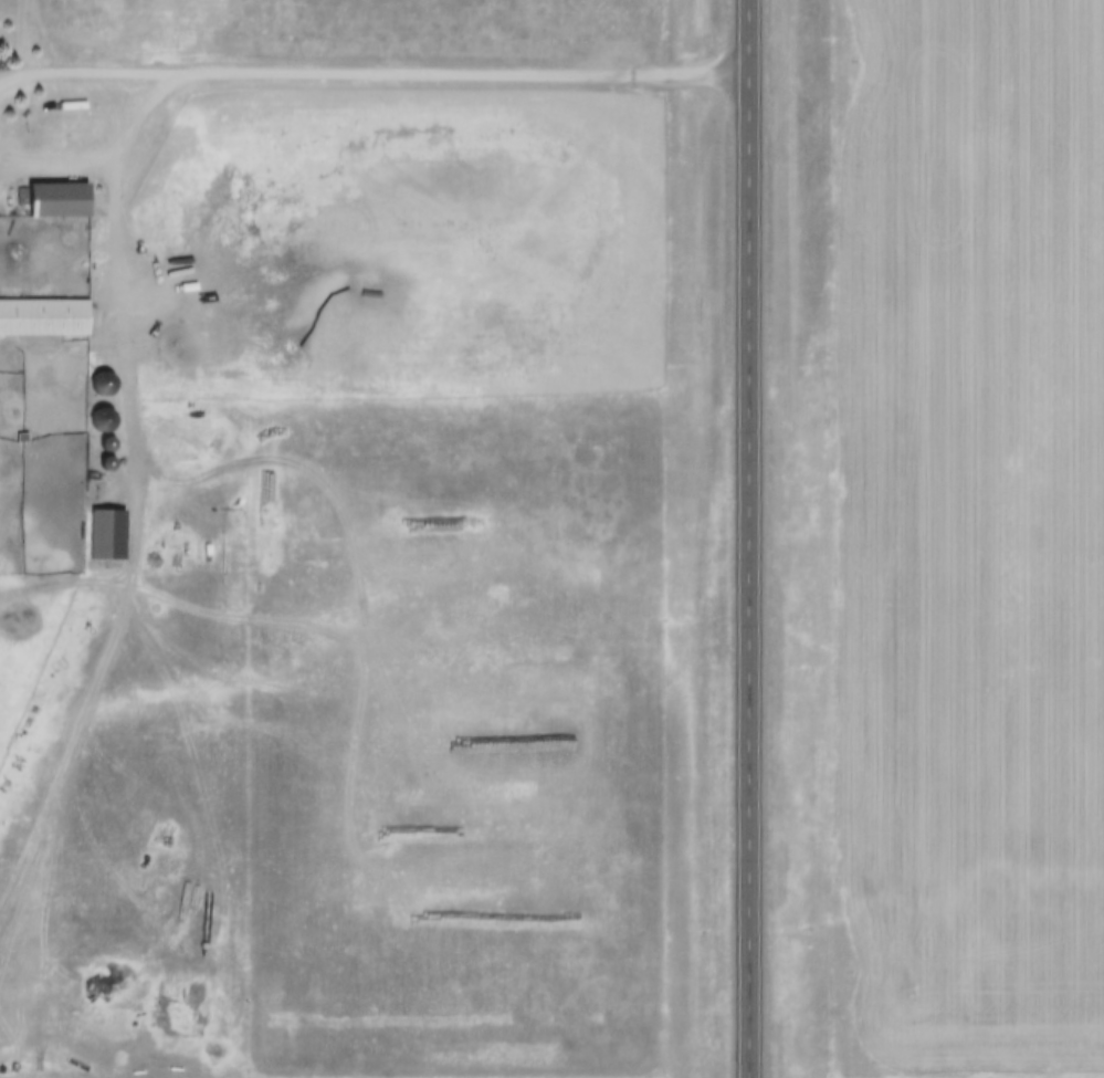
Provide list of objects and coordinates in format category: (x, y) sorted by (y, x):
road: (87, 76)
road: (462, 79)
road: (109, 164)
building: (46, 191)
building: (40, 307)
building: (95, 373)
building: (94, 409)
road: (747, 538)
road: (129, 582)

